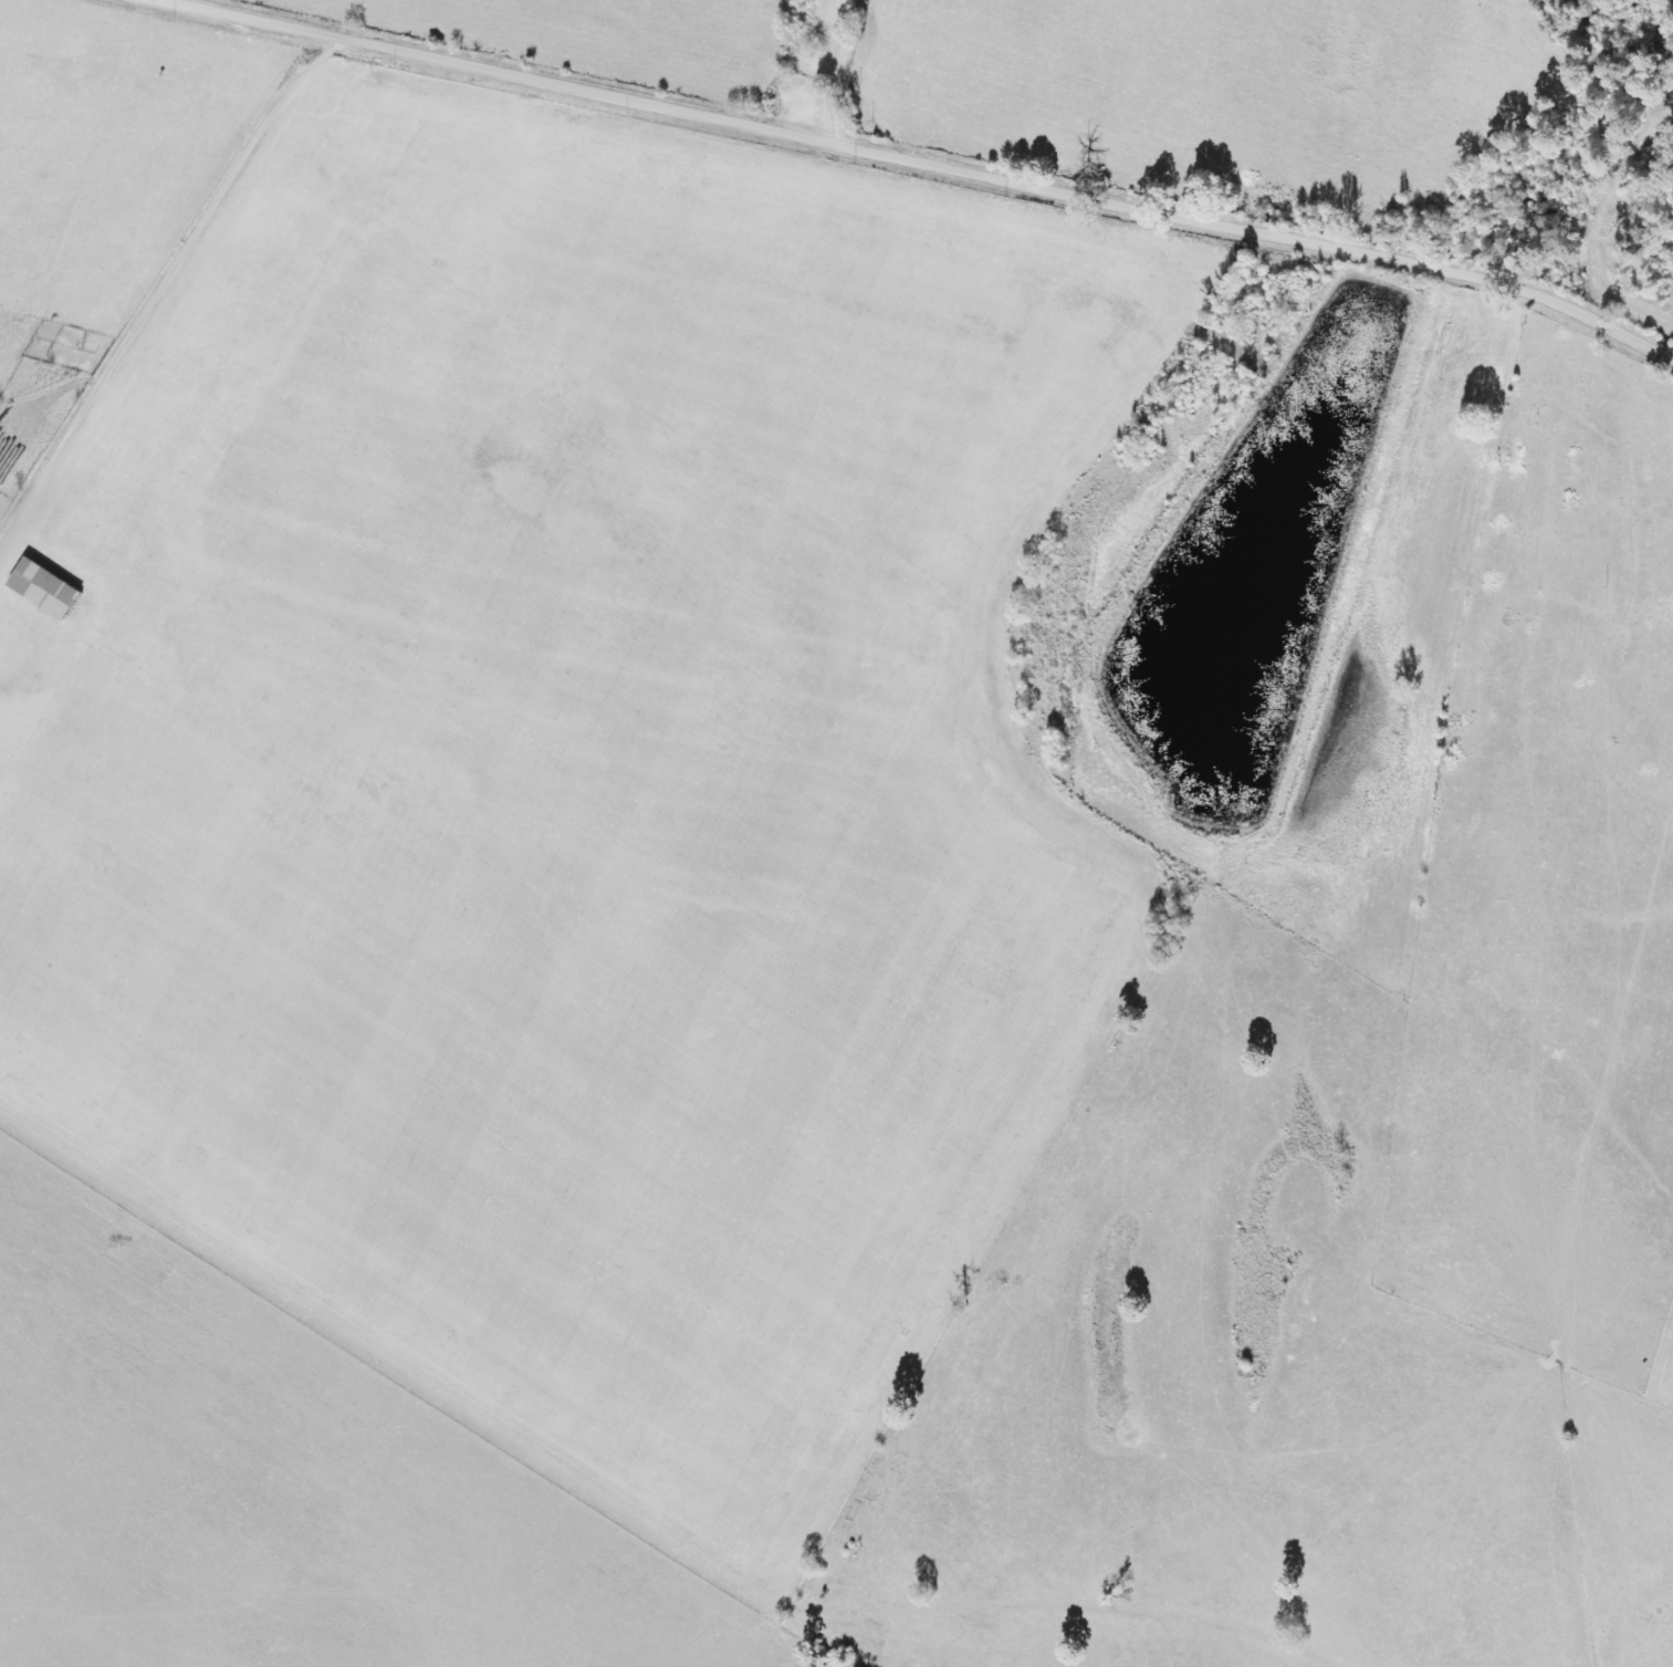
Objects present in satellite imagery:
road: (798, 48)
road: (836, 54)
road: (976, 136)
road: (71, 155)
road: (625, 1503)

